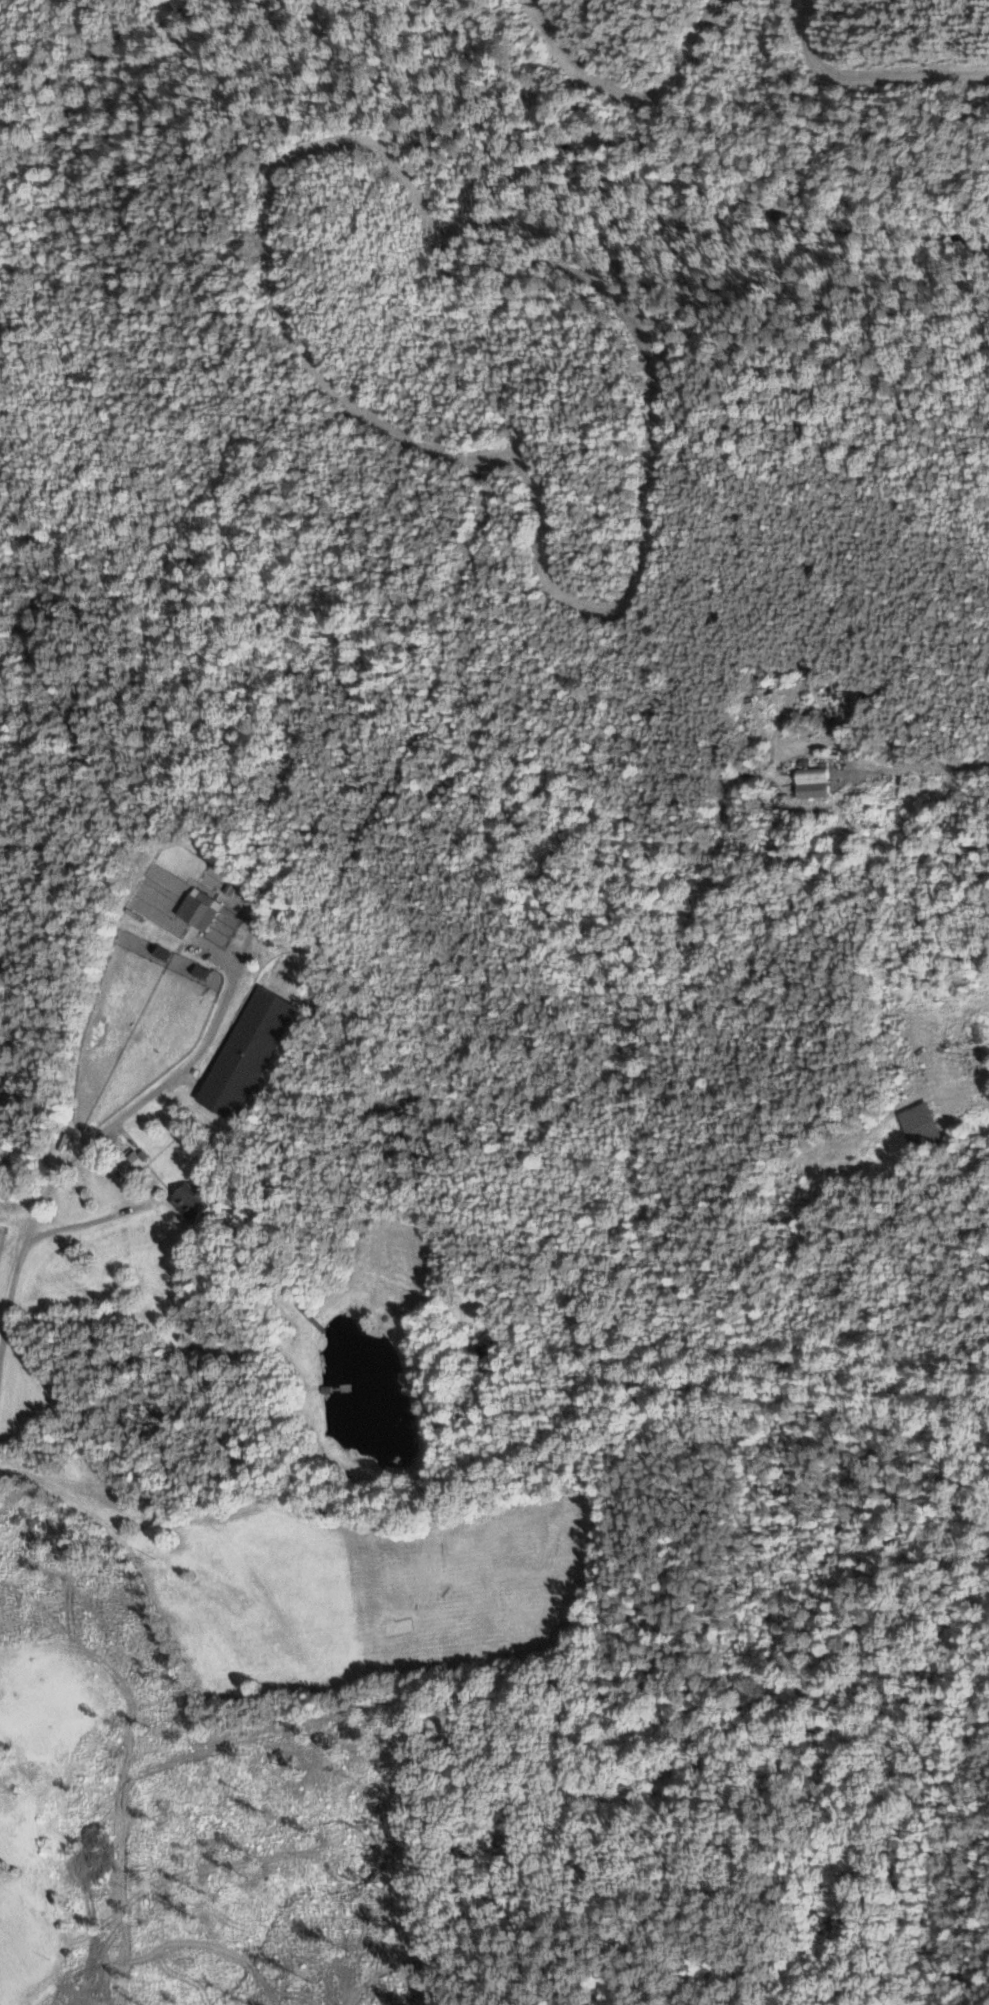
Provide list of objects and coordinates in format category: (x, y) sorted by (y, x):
road: (917, 769)
building: (812, 776)
building: (199, 911)
building: (921, 1126)
road: (94, 1136)
building: (135, 1162)
building: (191, 1202)
road: (84, 1216)
building: (37, 1872)

